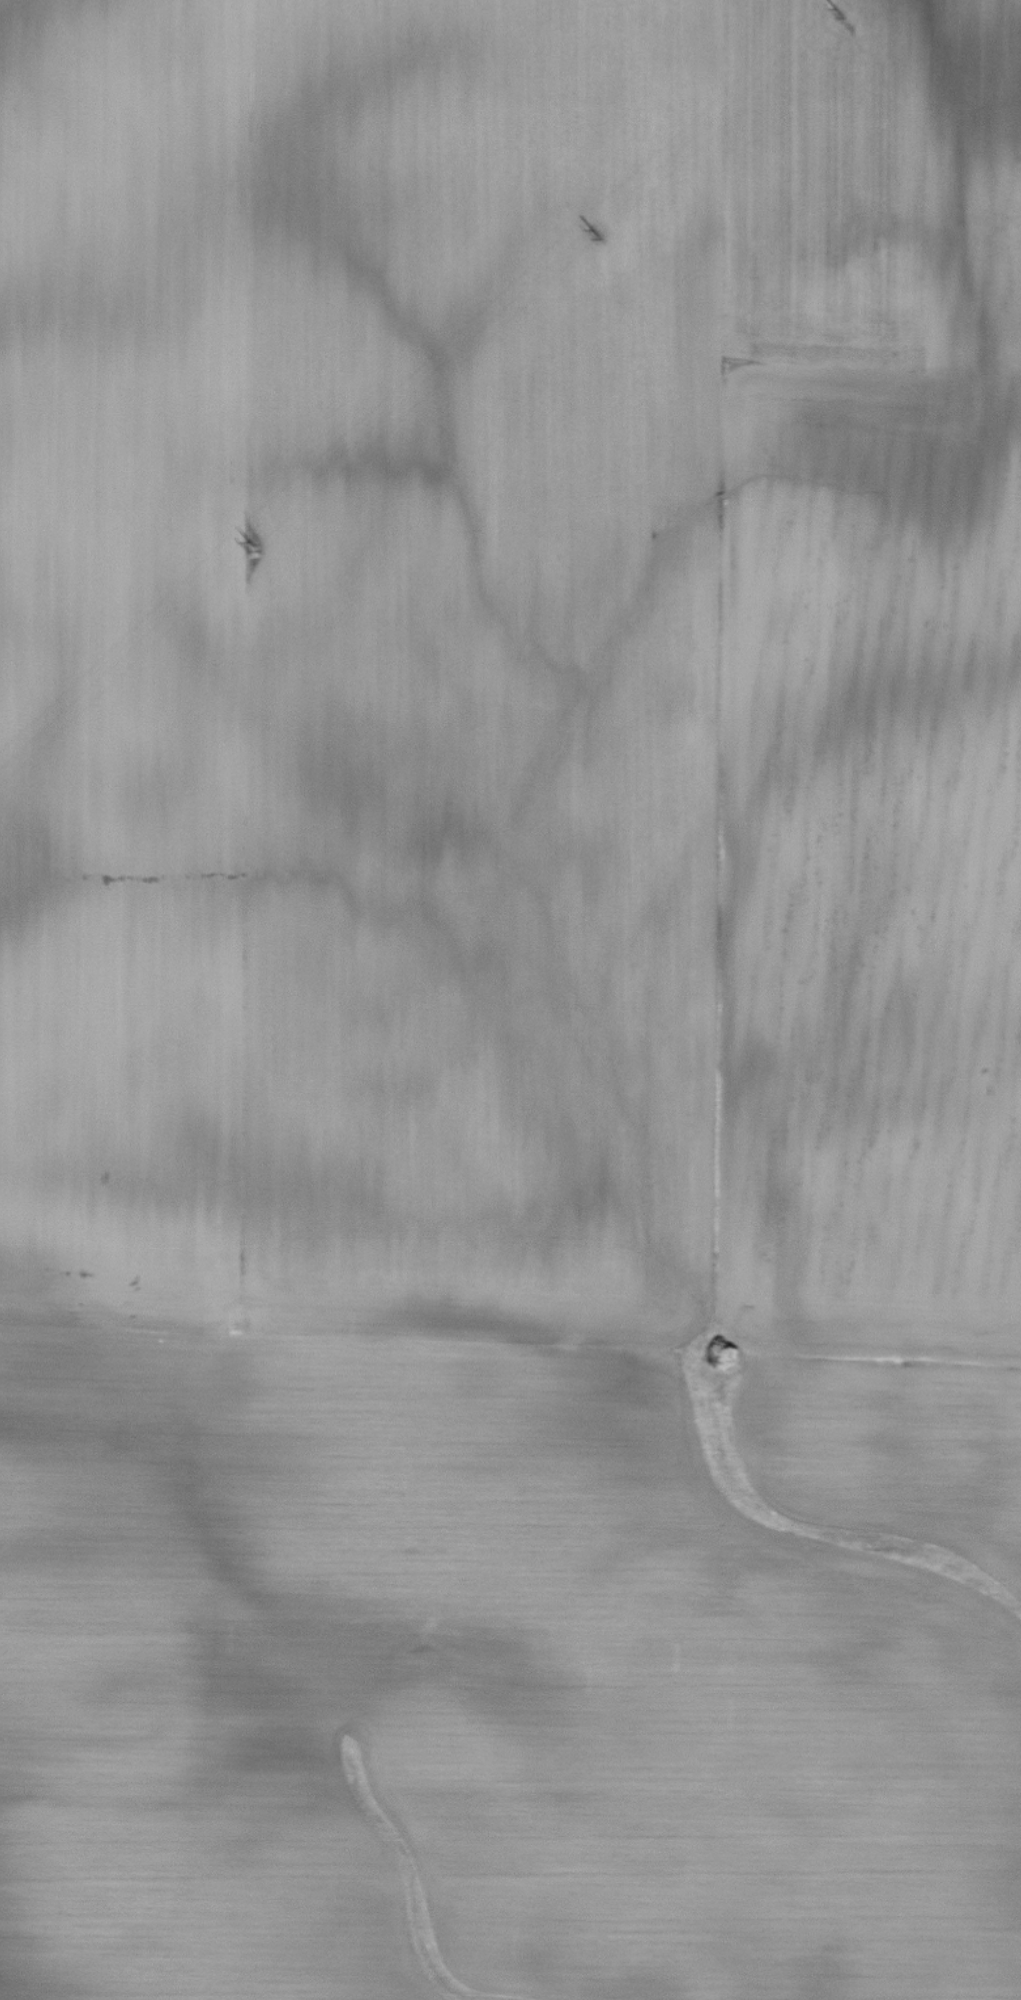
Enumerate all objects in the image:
power tower: (840, 16)
power tower: (598, 237)
power tower: (257, 549)

